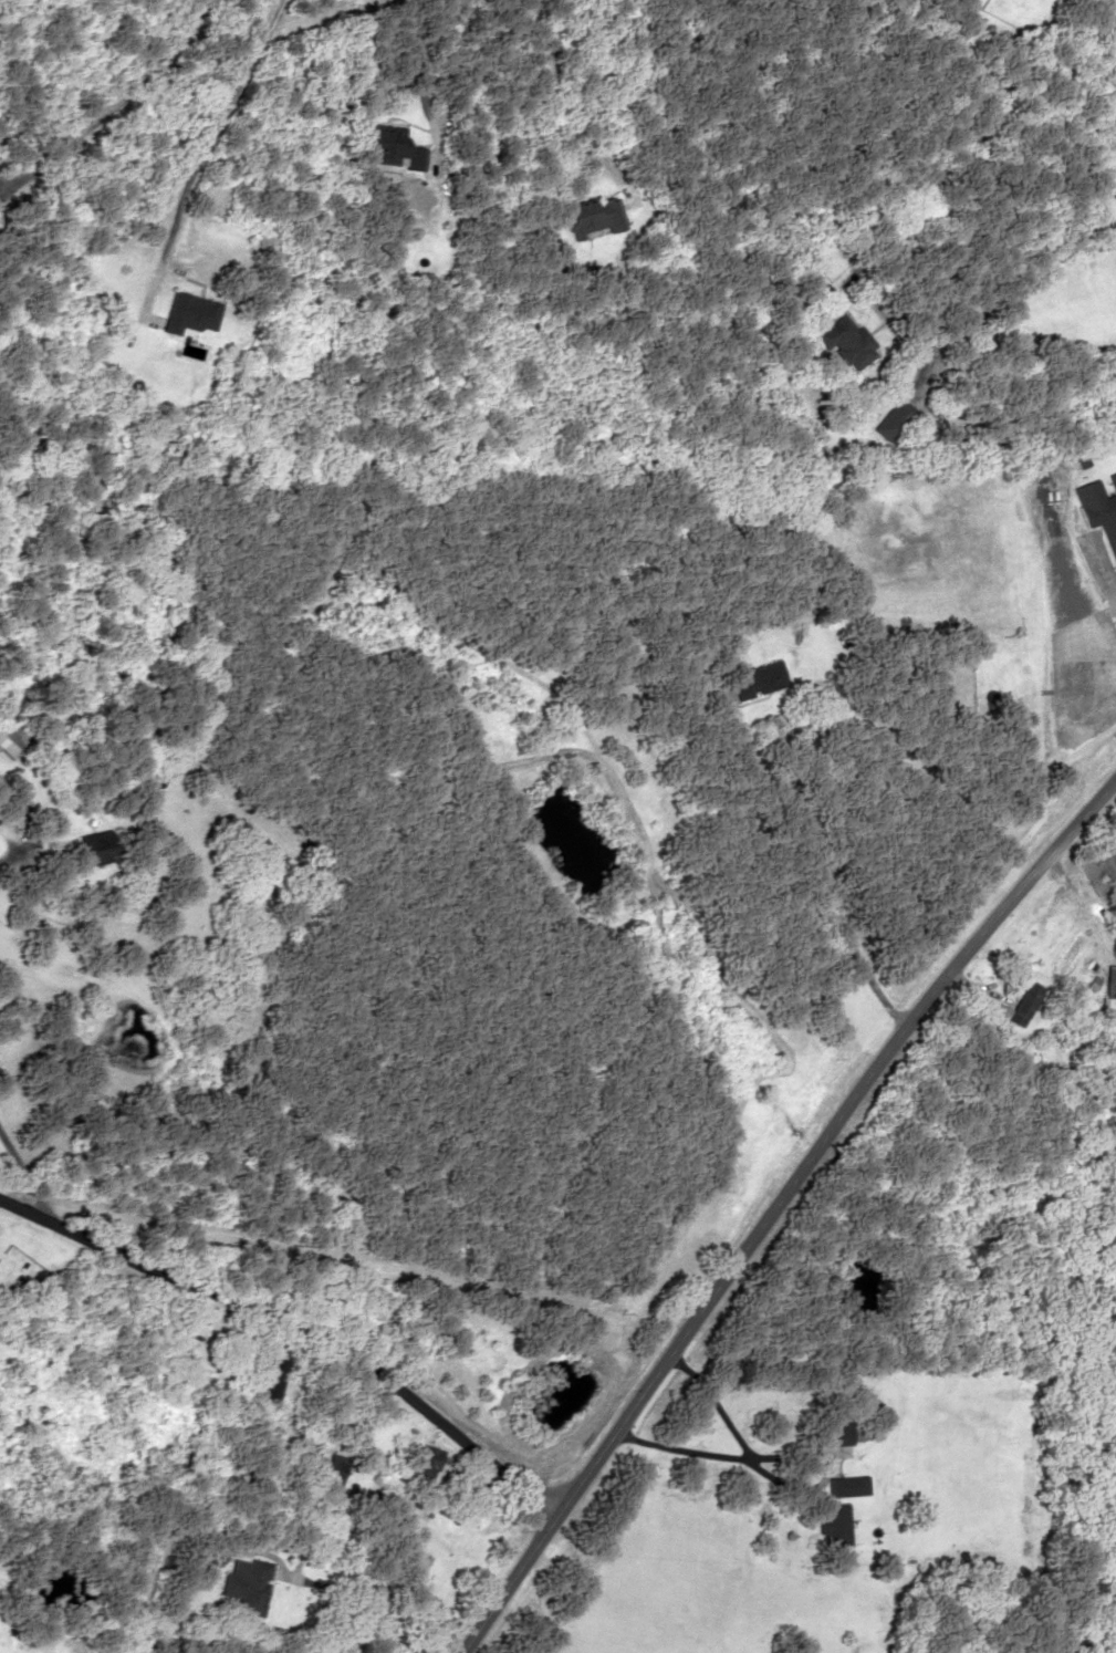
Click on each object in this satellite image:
building: (390, 147)
building: (588, 218)
building: (189, 313)
building: (847, 343)
building: (893, 418)
building: (1099, 509)
building: (759, 678)
building: (10, 738)
building: (94, 848)
building: (1021, 1004)
road: (774, 1204)
road: (295, 1325)
building: (270, 1379)
building: (837, 1433)
building: (425, 1467)
building: (333, 1470)
building: (847, 1487)
building: (833, 1524)
building: (468, 1555)
building: (248, 1584)

